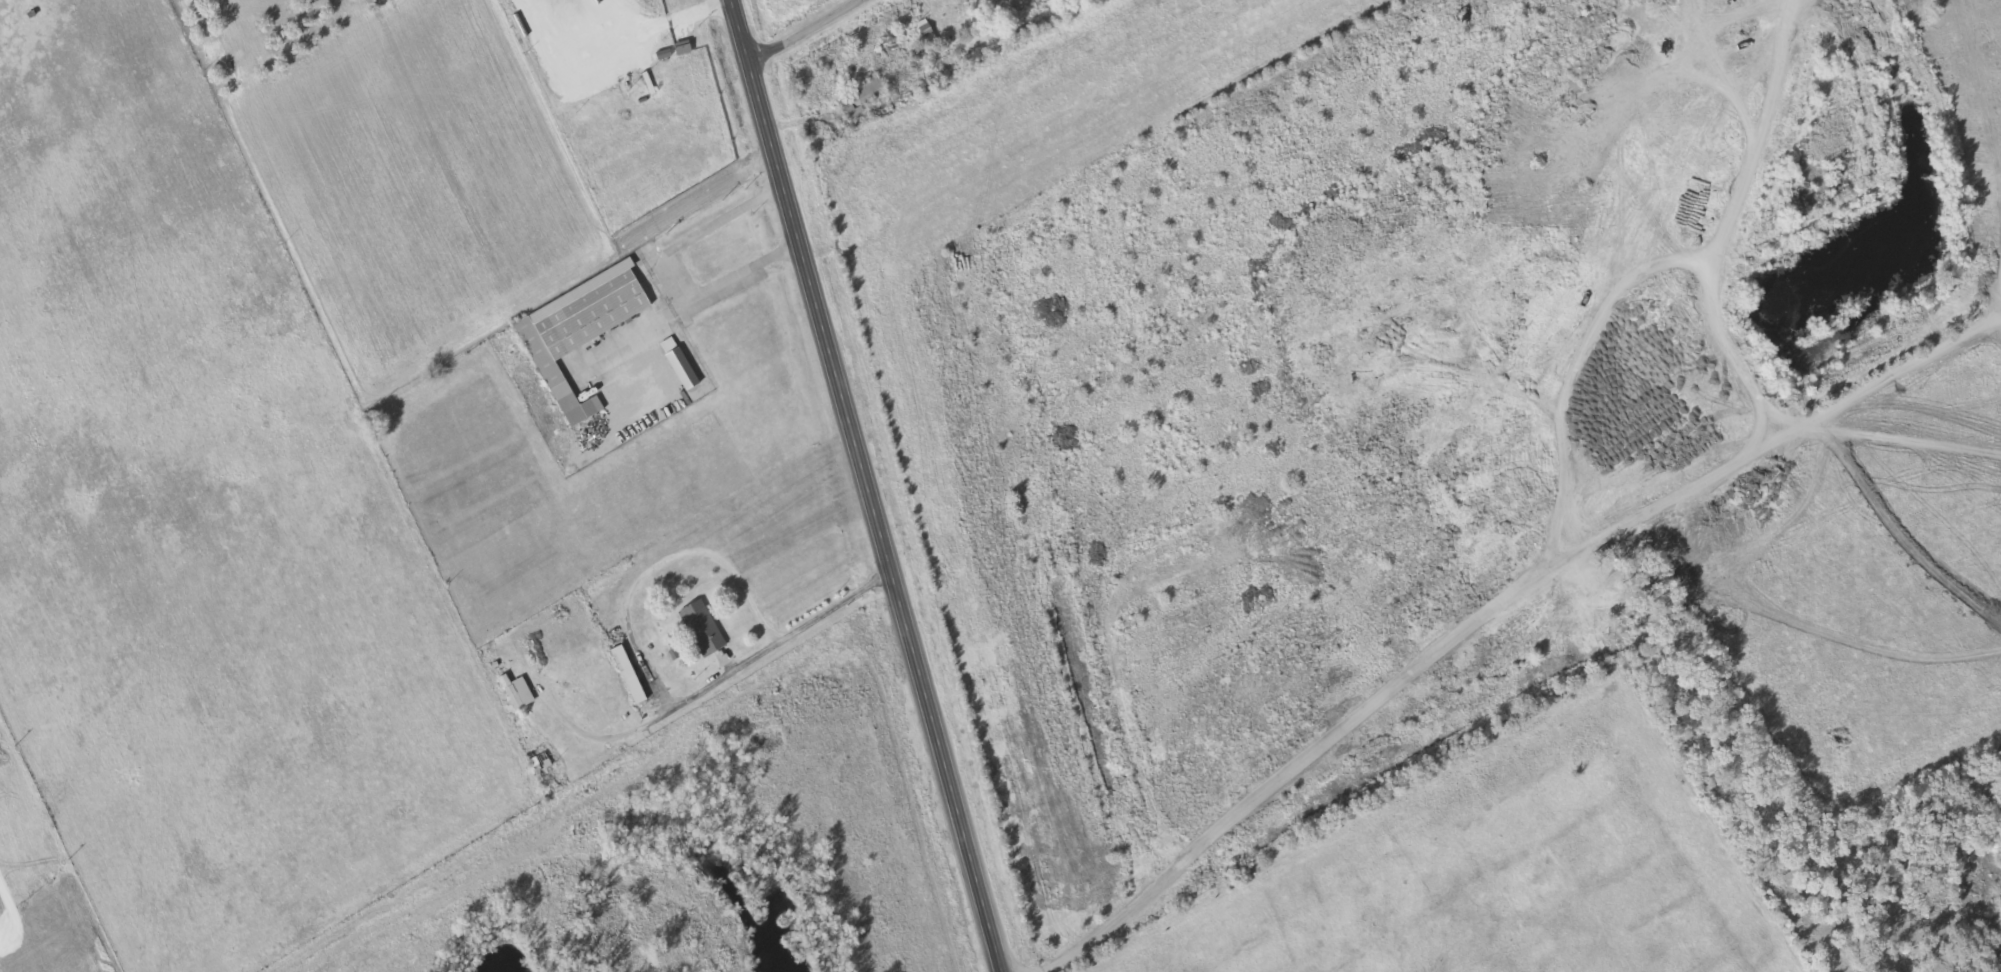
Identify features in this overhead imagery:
building: (1978, 21)
road: (806, 32)
building: (863, 99)
building: (582, 331)
building: (685, 370)
road: (866, 486)
building: (704, 629)

